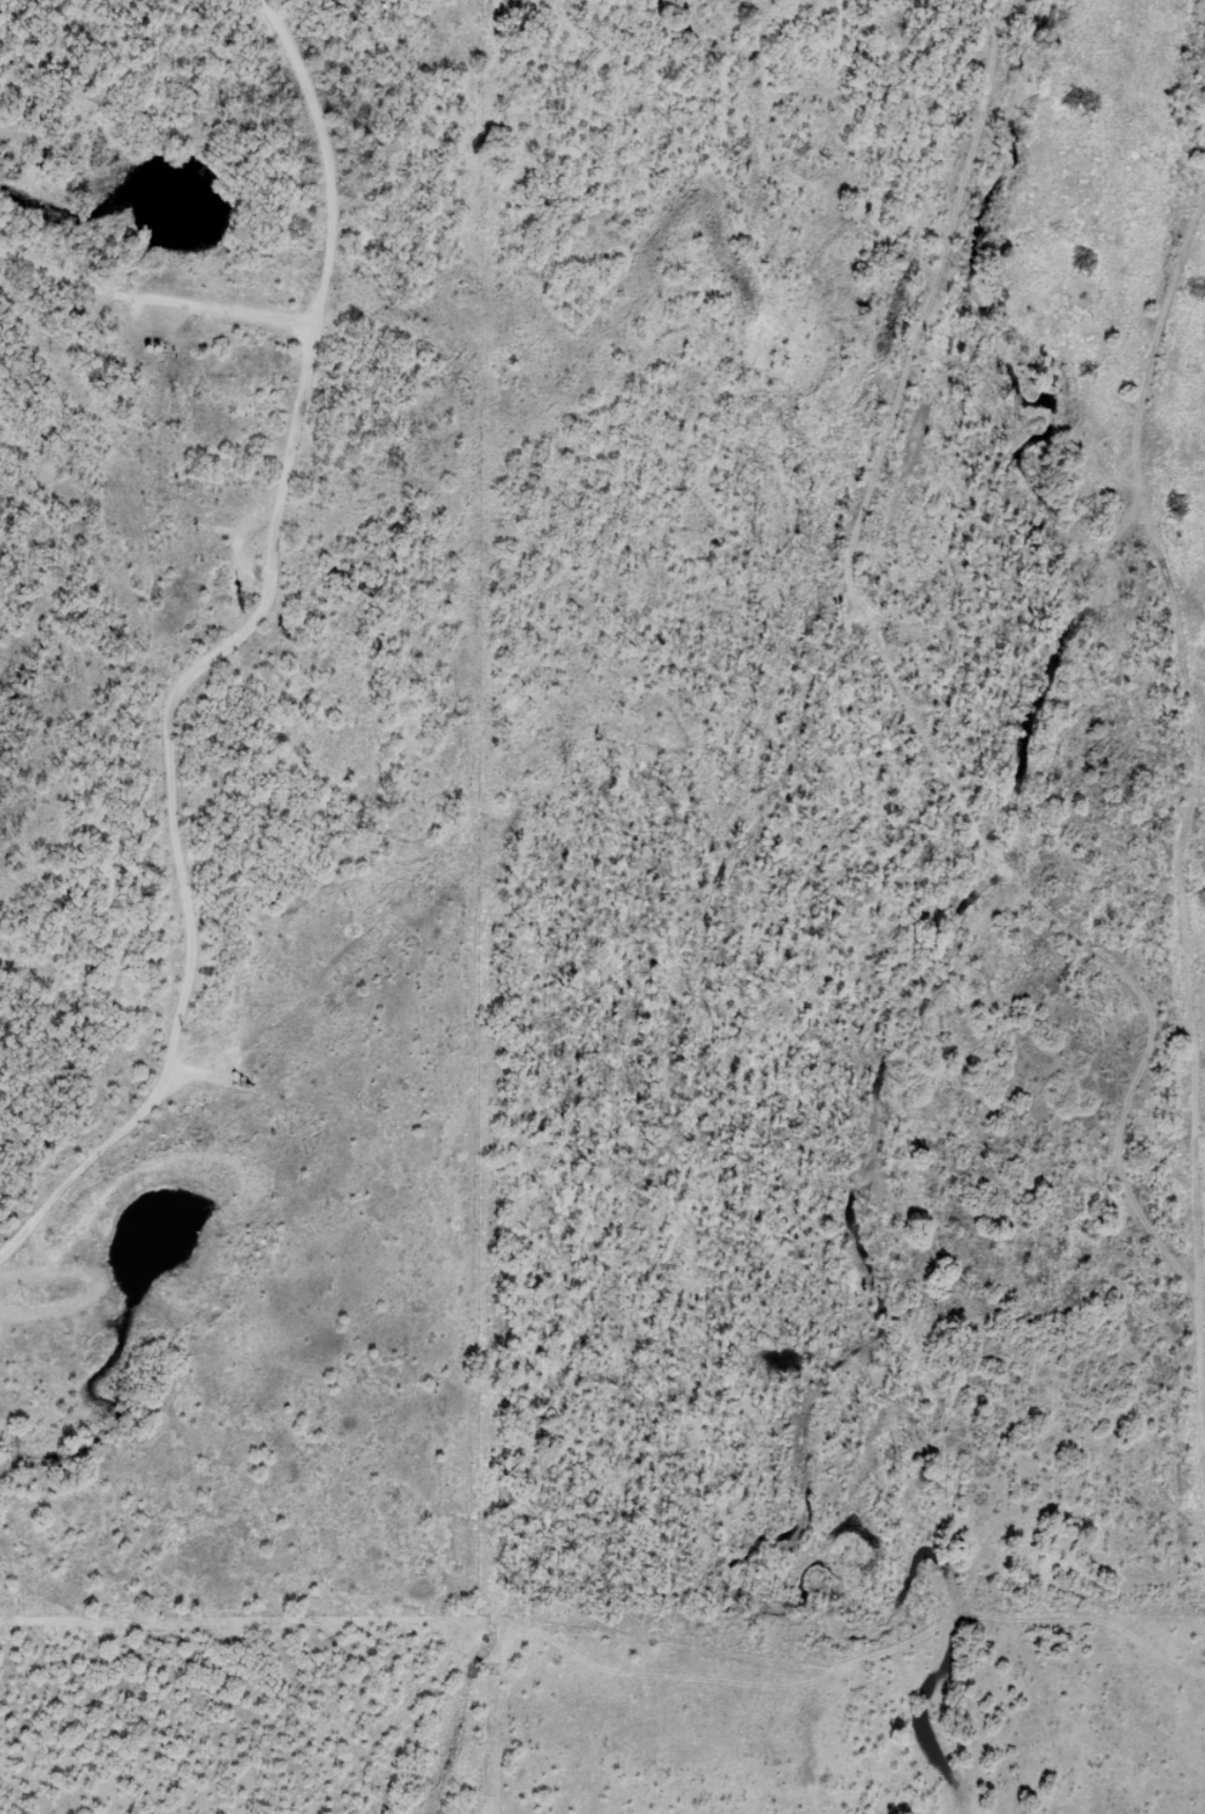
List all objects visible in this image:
road: (970, 241)

